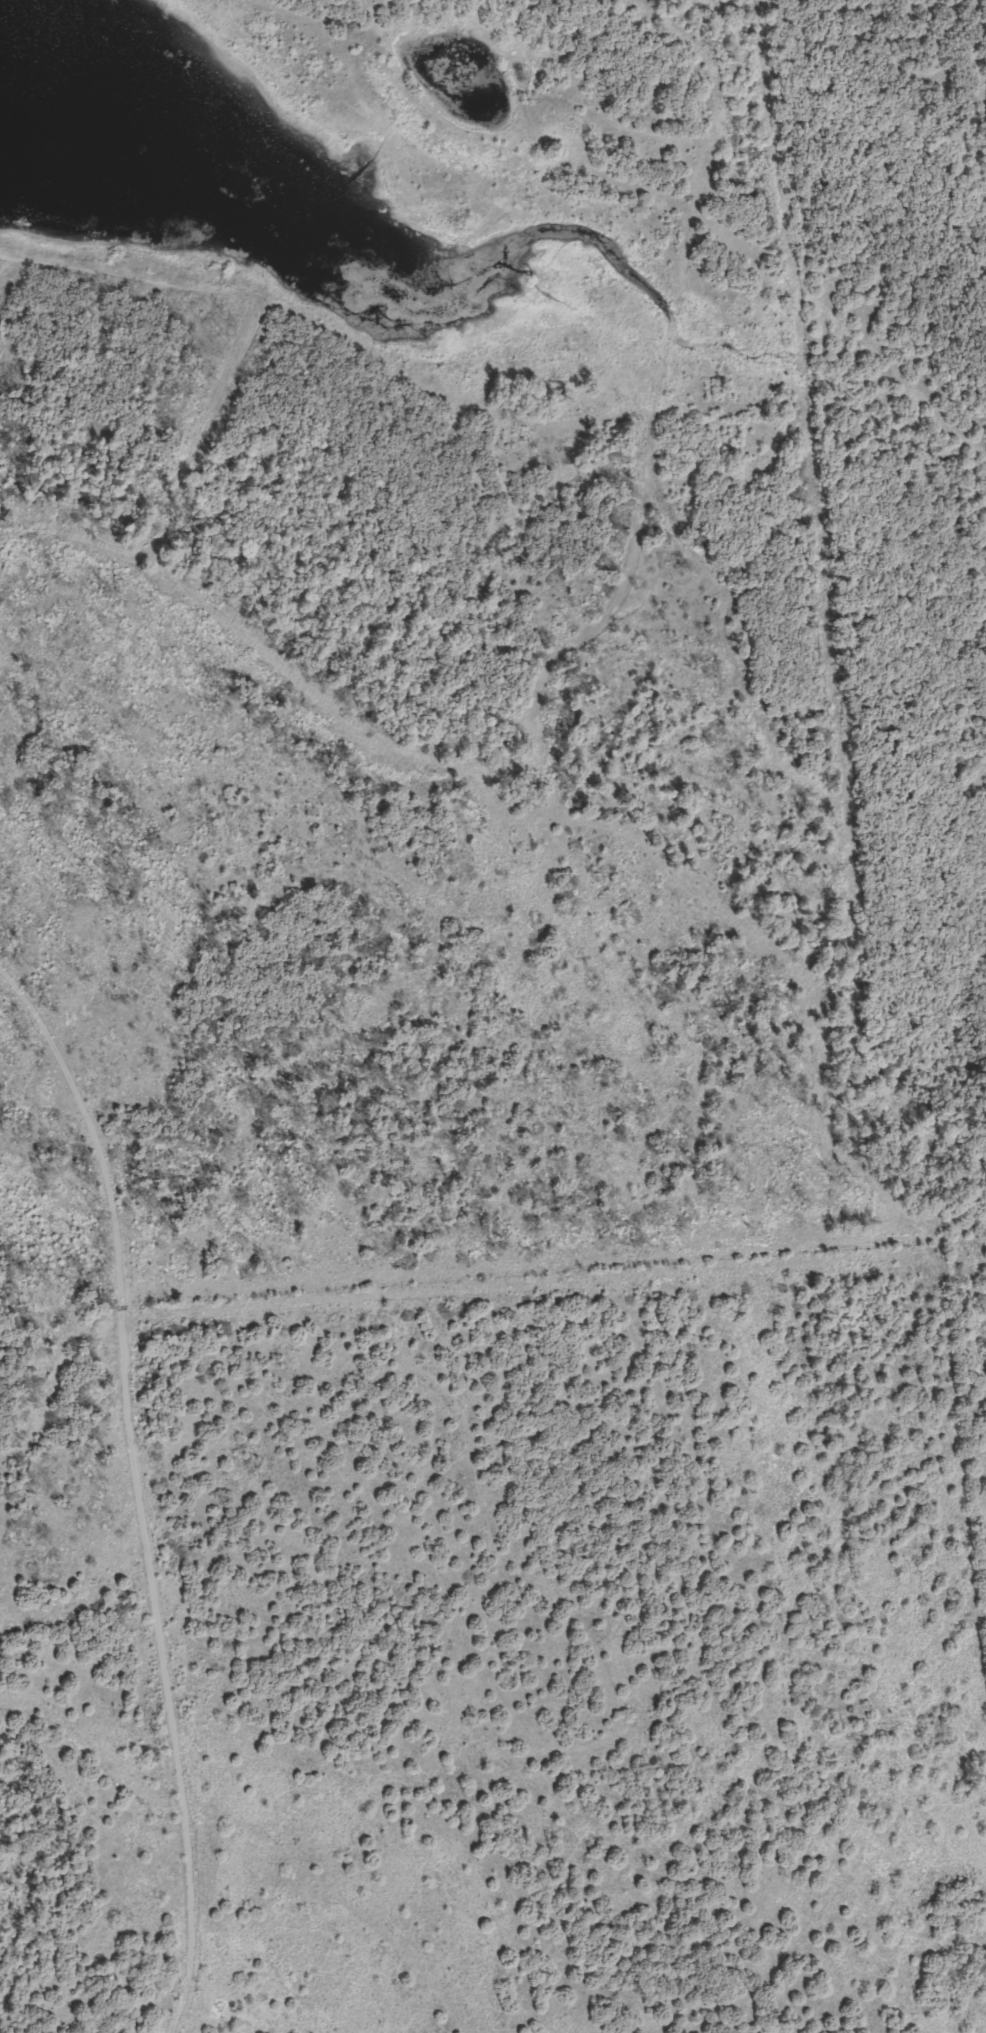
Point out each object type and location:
road: (545, 138)

